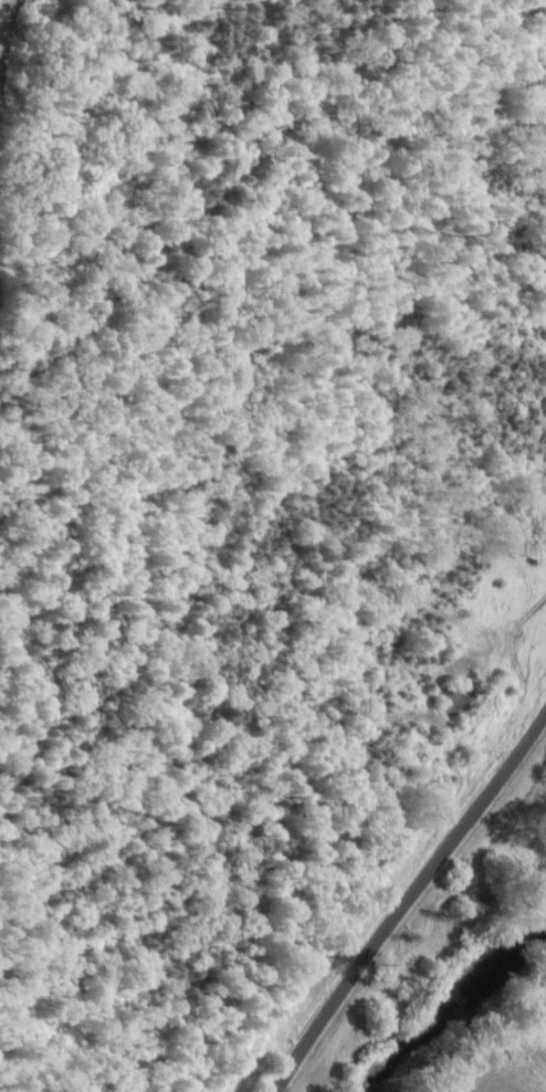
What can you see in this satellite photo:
road: (208, 190)
road: (380, 912)

